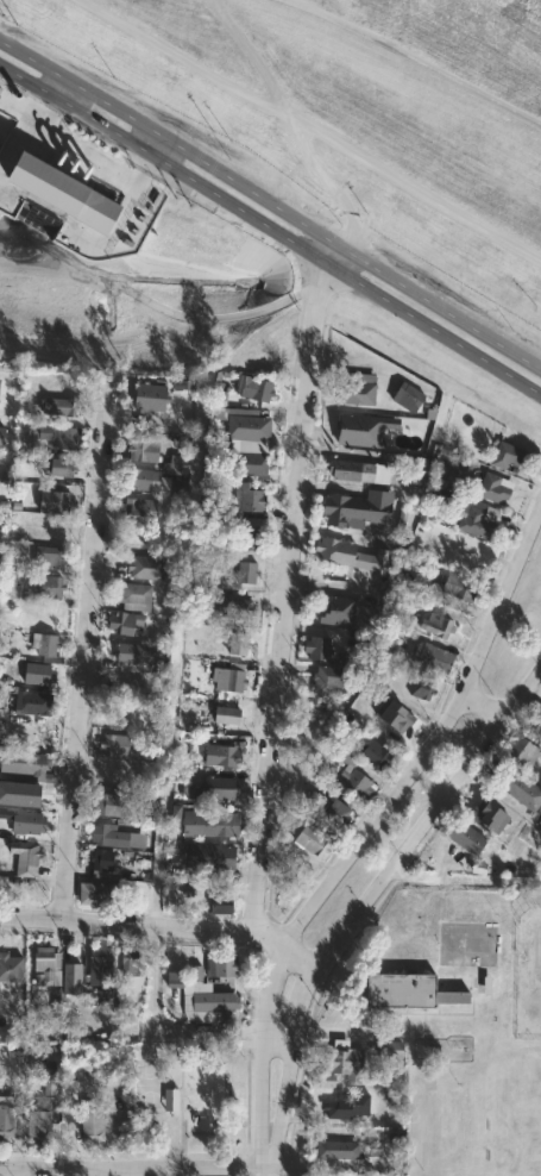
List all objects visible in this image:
road: (417, 68)
building: (0, 88)
road: (64, 90)
park: (354, 107)
road: (289, 121)
road: (312, 127)
road: (156, 144)
building: (62, 193)
road: (270, 205)
road: (271, 226)
building: (181, 383)
building: (252, 387)
building: (353, 392)
building: (143, 394)
building: (404, 396)
building: (57, 405)
building: (357, 429)
building: (0, 431)
building: (54, 434)
building: (243, 438)
building: (137, 449)
building: (504, 455)
building: (172, 464)
building: (56, 465)
building: (357, 470)
building: (139, 477)
building: (170, 486)
building: (492, 488)
building: (439, 495)
building: (245, 499)
building: (56, 501)
building: (137, 508)
building: (352, 509)
building: (477, 520)
building: (246, 538)
building: (351, 555)
building: (46, 558)
building: (146, 565)
building: (244, 571)
building: (12, 586)
building: (45, 586)
building: (459, 587)
road: (287, 588)
building: (132, 595)
building: (231, 606)
building: (334, 611)
building: (121, 620)
building: (434, 620)
building: (235, 643)
building: (42, 645)
road: (90, 649)
building: (316, 650)
building: (131, 656)
building: (432, 656)
building: (37, 673)
building: (227, 677)
building: (323, 680)
building: (421, 687)
road: (486, 700)
building: (30, 702)
building: (396, 714)
building: (226, 717)
building: (535, 718)
road: (433, 740)
building: (112, 744)
building: (521, 749)
building: (373, 751)
building: (221, 755)
building: (27, 764)
building: (352, 777)
building: (215, 787)
building: (516, 787)
building: (23, 793)
building: (120, 802)
building: (333, 813)
building: (489, 815)
building: (21, 820)
building: (206, 822)
building: (539, 822)
building: (115, 837)
building: (463, 837)
building: (309, 840)
building: (206, 856)
building: (23, 857)
building: (99, 862)
building: (99, 893)
road: (364, 901)
building: (219, 903)
road: (144, 926)
road: (298, 957)
building: (43, 965)
building: (10, 968)
building: (132, 969)
building: (99, 970)
building: (69, 975)
park: (527, 975)
building: (402, 990)
building: (205, 992)
park: (457, 1021)
road: (326, 1031)
building: (390, 1049)
road: (263, 1057)
building: (342, 1063)
building: (39, 1071)
building: (322, 1080)
building: (169, 1099)
building: (345, 1105)
building: (38, 1120)
building: (5, 1121)
building: (90, 1125)
road: (180, 1145)
building: (332, 1150)
road: (134, 1168)
road: (269, 1172)

